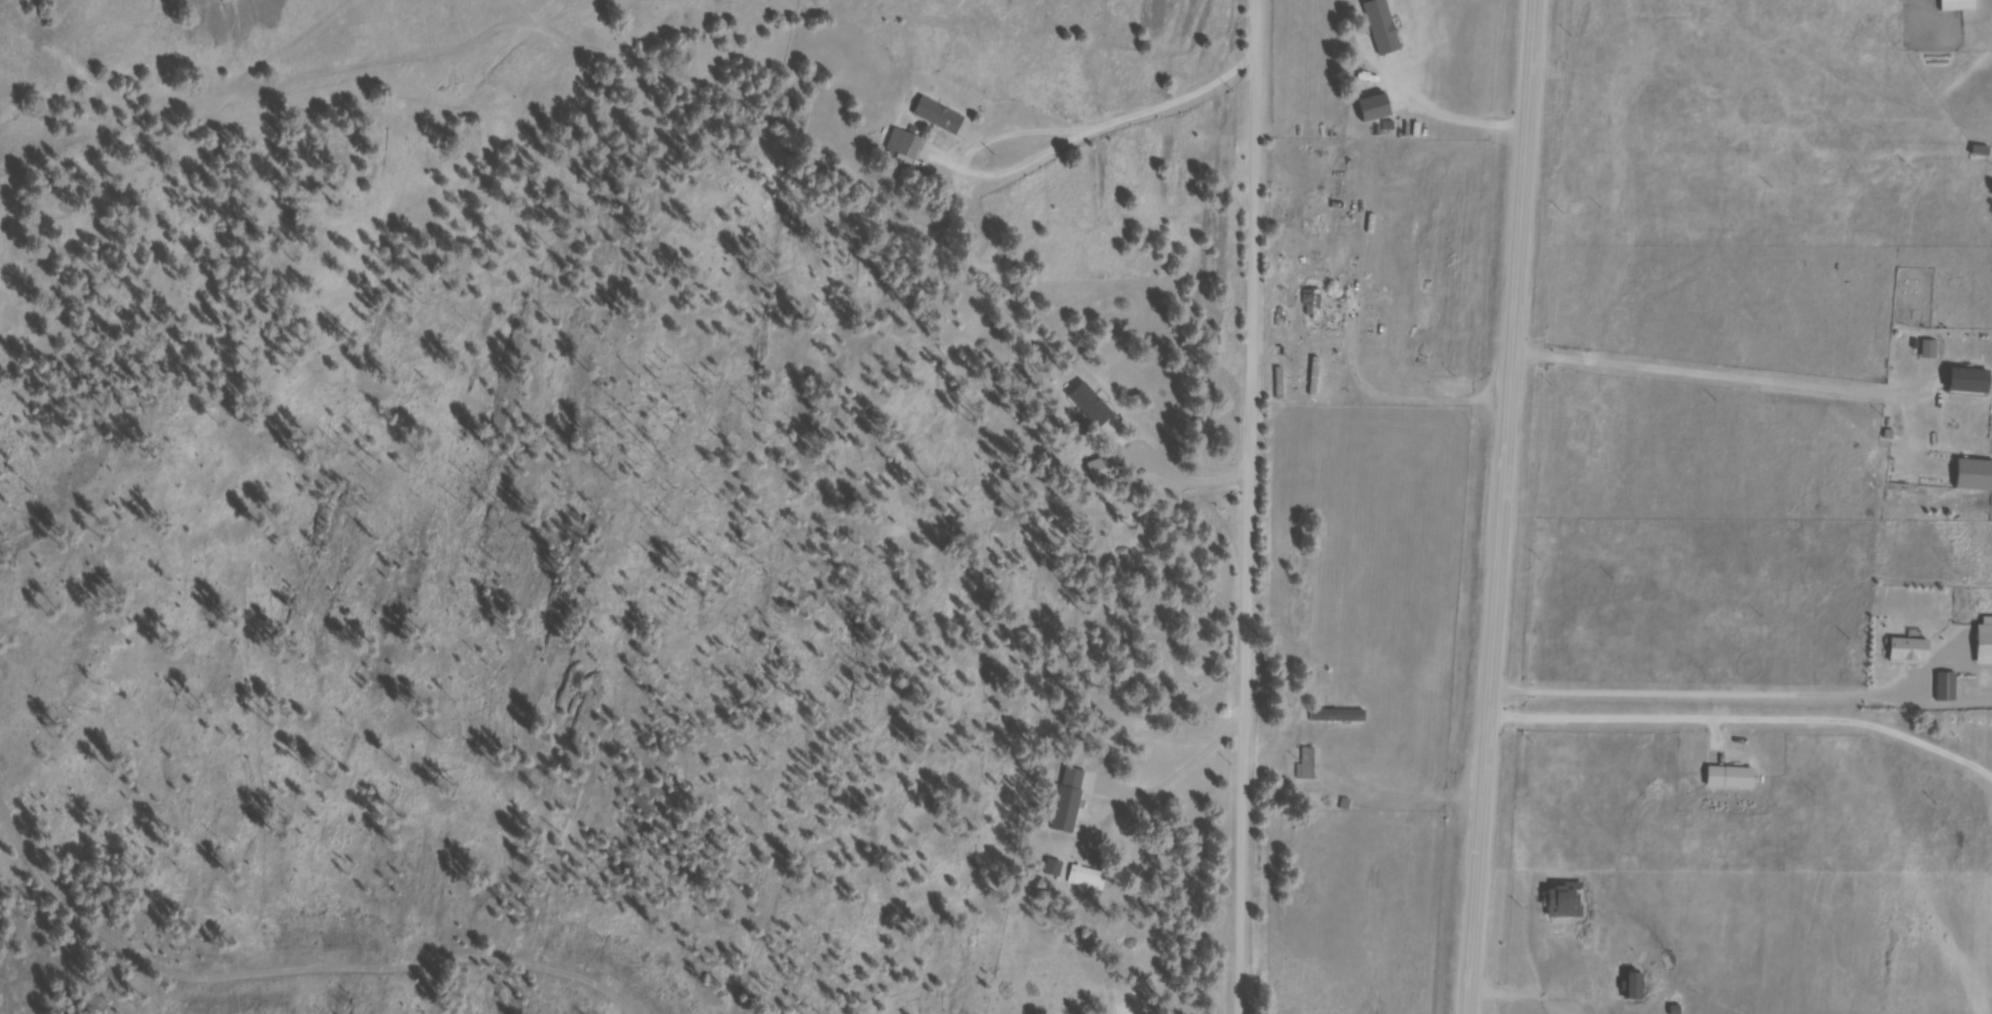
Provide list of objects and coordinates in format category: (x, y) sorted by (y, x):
building: (1963, 7)
building: (1391, 39)
building: (1382, 113)
building: (943, 119)
building: (907, 146)
building: (1984, 155)
building: (1316, 307)
building: (1933, 351)
building: (1974, 383)
building: (1283, 386)
building: (1095, 407)
building: (1109, 469)
building: (1977, 478)
road: (1254, 506)
road: (1500, 507)
building: (1987, 648)
building: (1913, 652)
building: (1948, 690)
building: (1341, 718)
building: (1311, 764)
building: (1735, 781)
building: (1075, 797)
building: (1088, 883)

